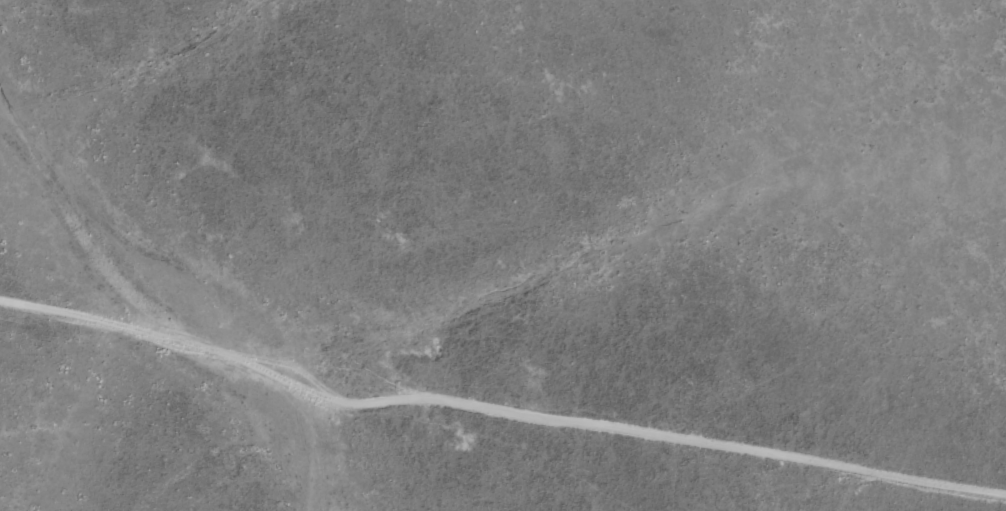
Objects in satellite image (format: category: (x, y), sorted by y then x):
road: (498, 410)

